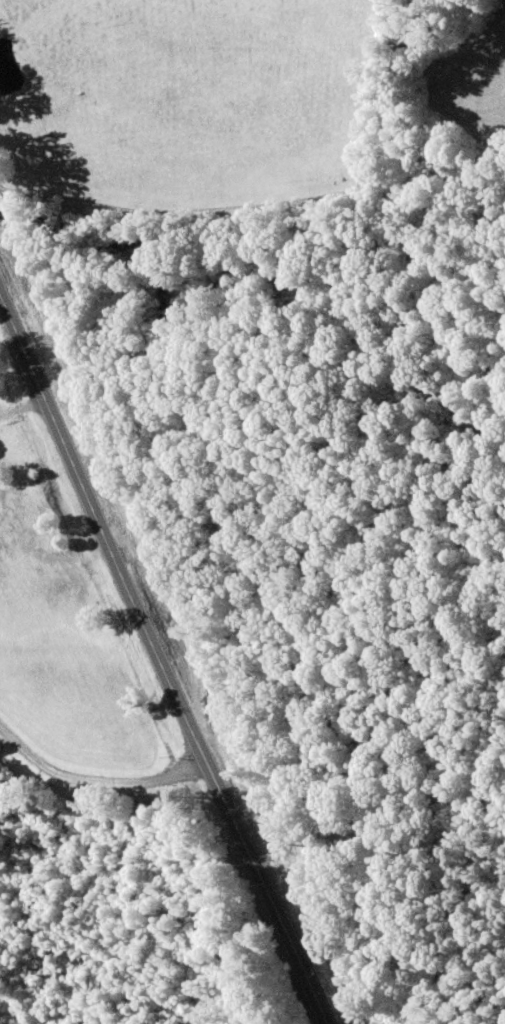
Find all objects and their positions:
road: (159, 677)
road: (277, 1009)

